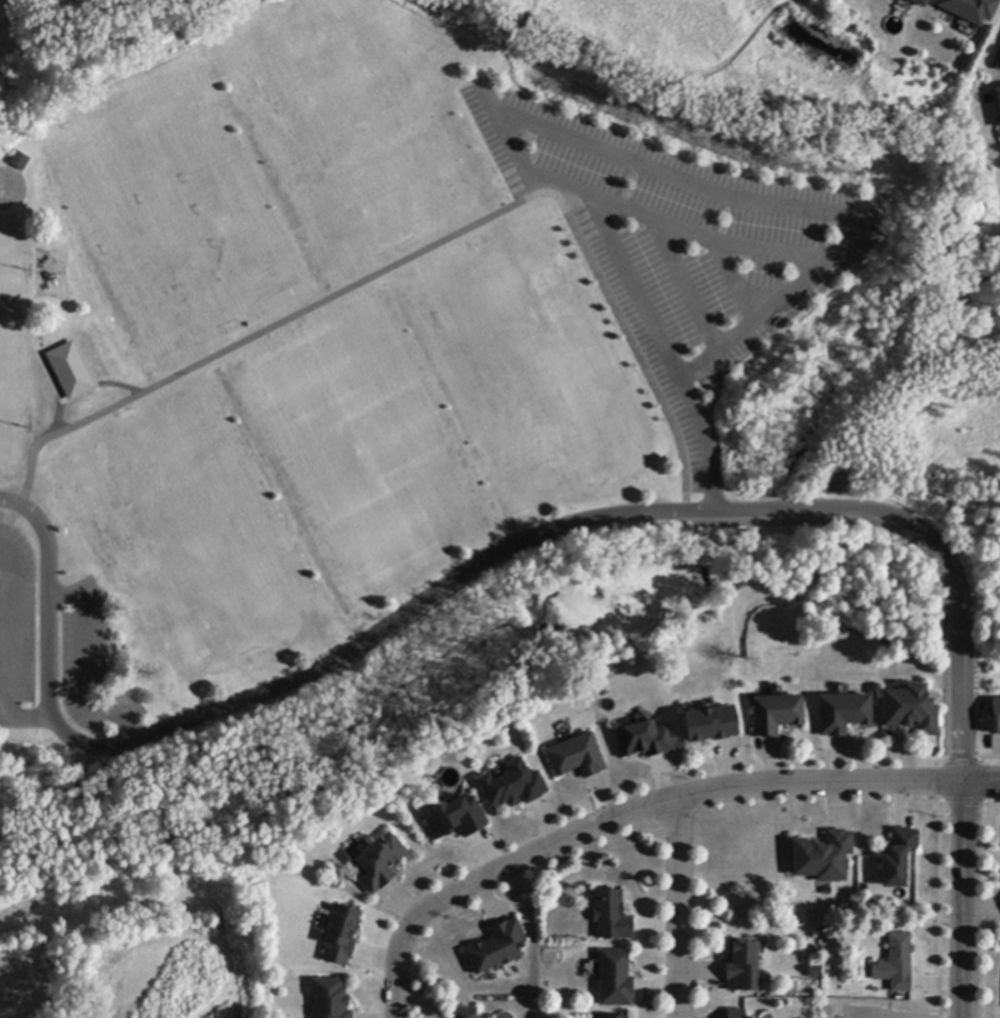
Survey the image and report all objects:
building: (919, 3)
building: (970, 10)
park: (98, 19)
park: (752, 58)
building: (998, 100)
building: (20, 161)
road: (2, 188)
road: (788, 206)
parking lot: (681, 245)
road: (735, 246)
road: (408, 256)
road: (672, 258)
road: (629, 272)
road: (735, 280)
building: (70, 370)
park: (376, 431)
park: (913, 475)
road: (476, 565)
parking lot: (15, 616)
road: (8, 651)
parking lot: (89, 662)
road: (82, 664)
building: (910, 710)
building: (776, 714)
building: (843, 714)
road: (4, 717)
building: (991, 719)
building: (712, 725)
building: (644, 740)
building: (577, 757)
road: (981, 781)
building: (513, 786)
road: (626, 814)
building: (454, 818)
building: (823, 857)
building: (897, 858)
building: (379, 863)
road: (962, 900)
road: (677, 908)
building: (611, 916)
building: (341, 935)
building: (497, 948)
building: (895, 964)
building: (742, 967)
building: (615, 979)
building: (330, 999)
building: (464, 1013)
building: (736, 1013)
building: (613, 1017)

